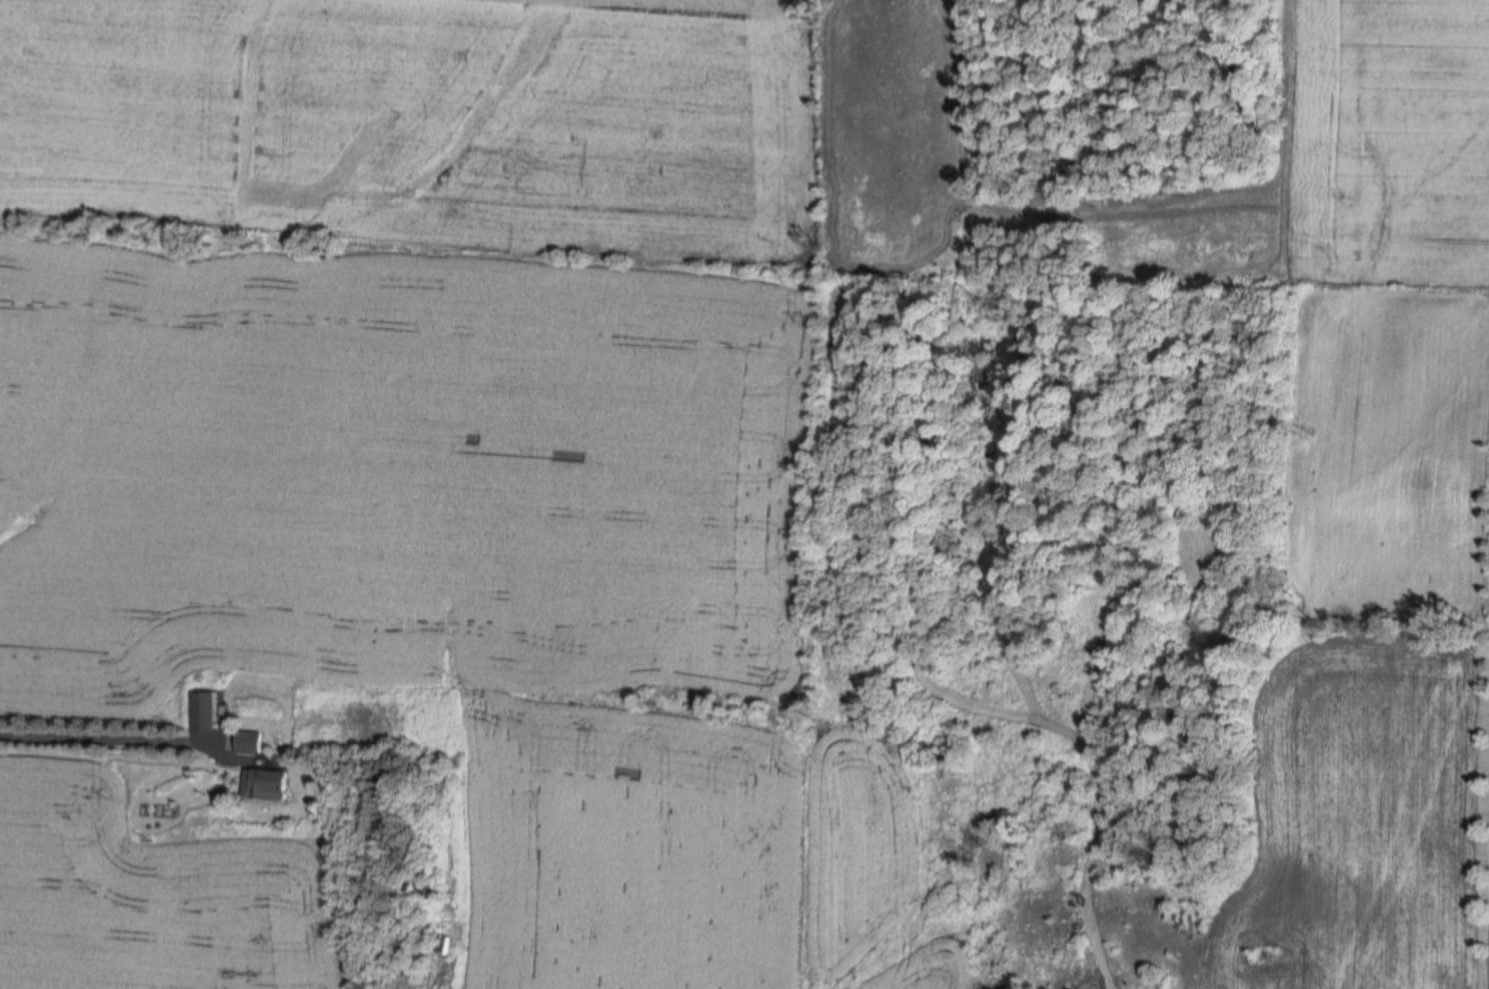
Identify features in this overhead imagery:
building: (202, 708)
building: (247, 741)
building: (263, 783)
building: (443, 944)

